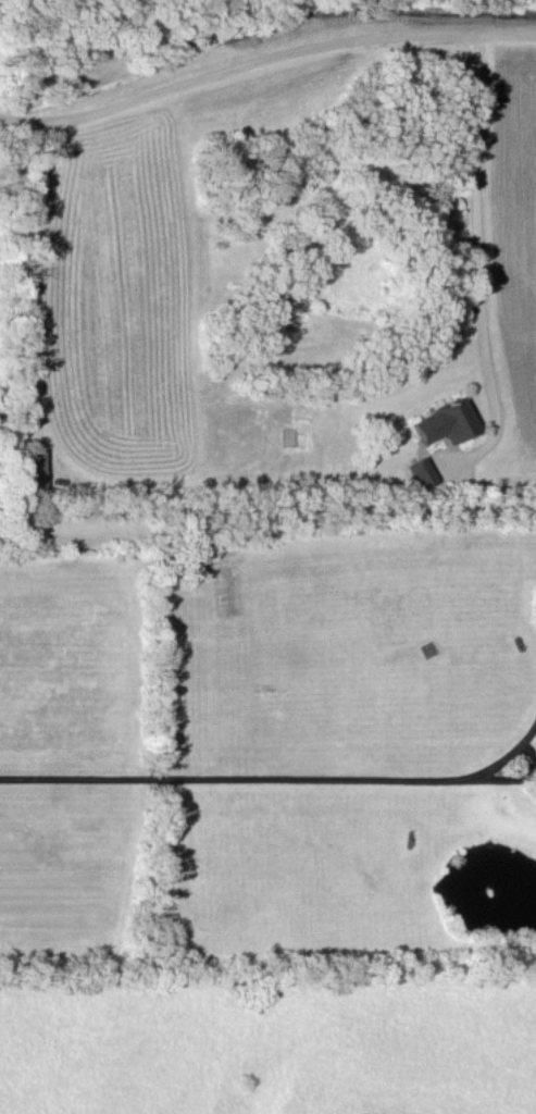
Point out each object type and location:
road: (265, 59)
road: (479, 260)
building: (445, 420)
building: (30, 469)
building: (421, 471)
road: (255, 779)

